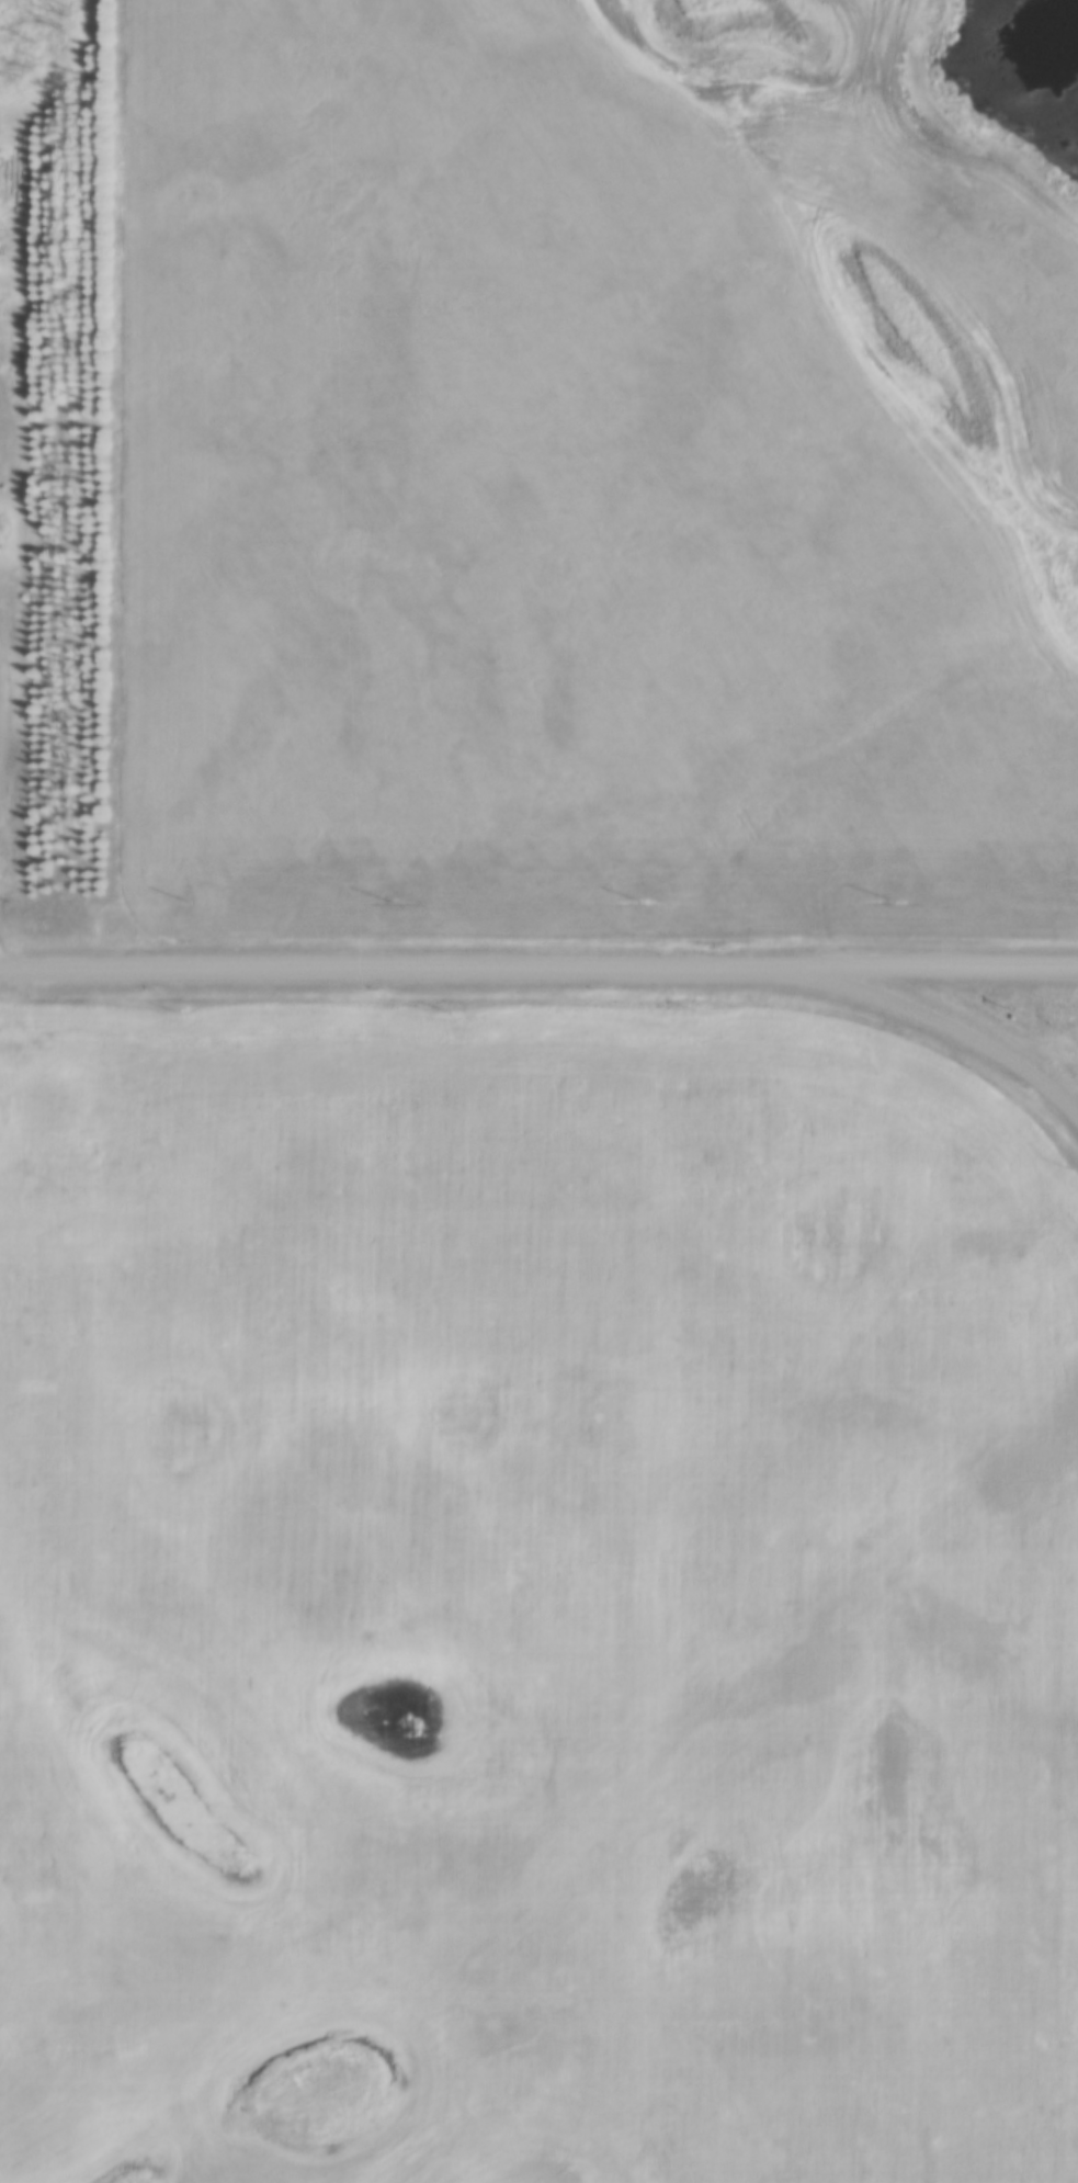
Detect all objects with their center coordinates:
road: (3, 957)
road: (538, 964)
road: (946, 1014)

